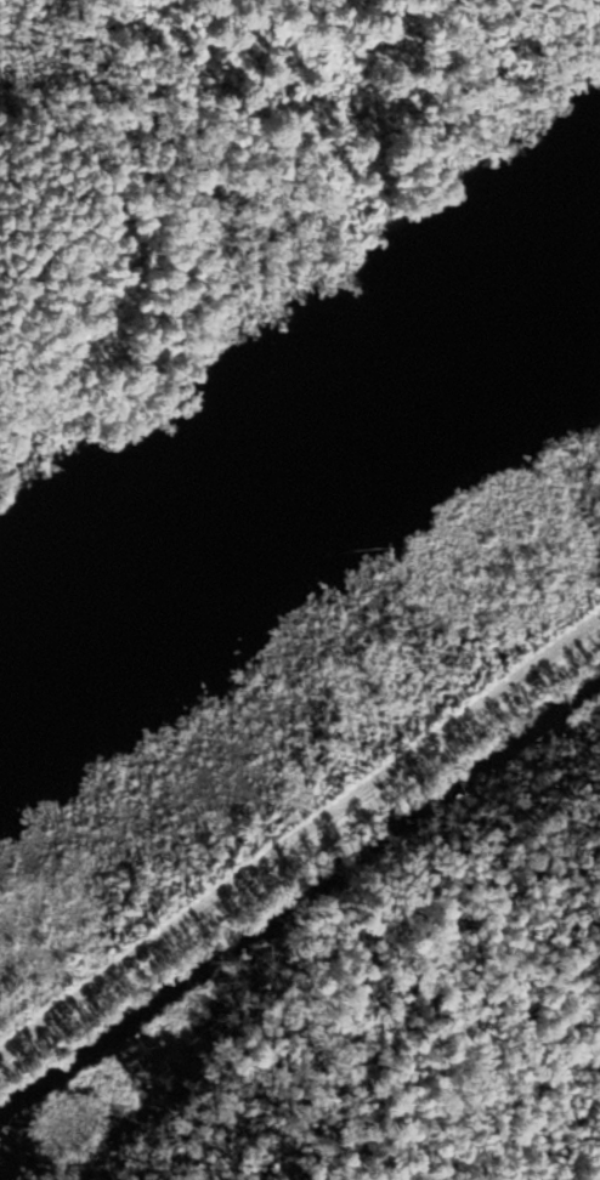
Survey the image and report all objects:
road: (300, 829)

